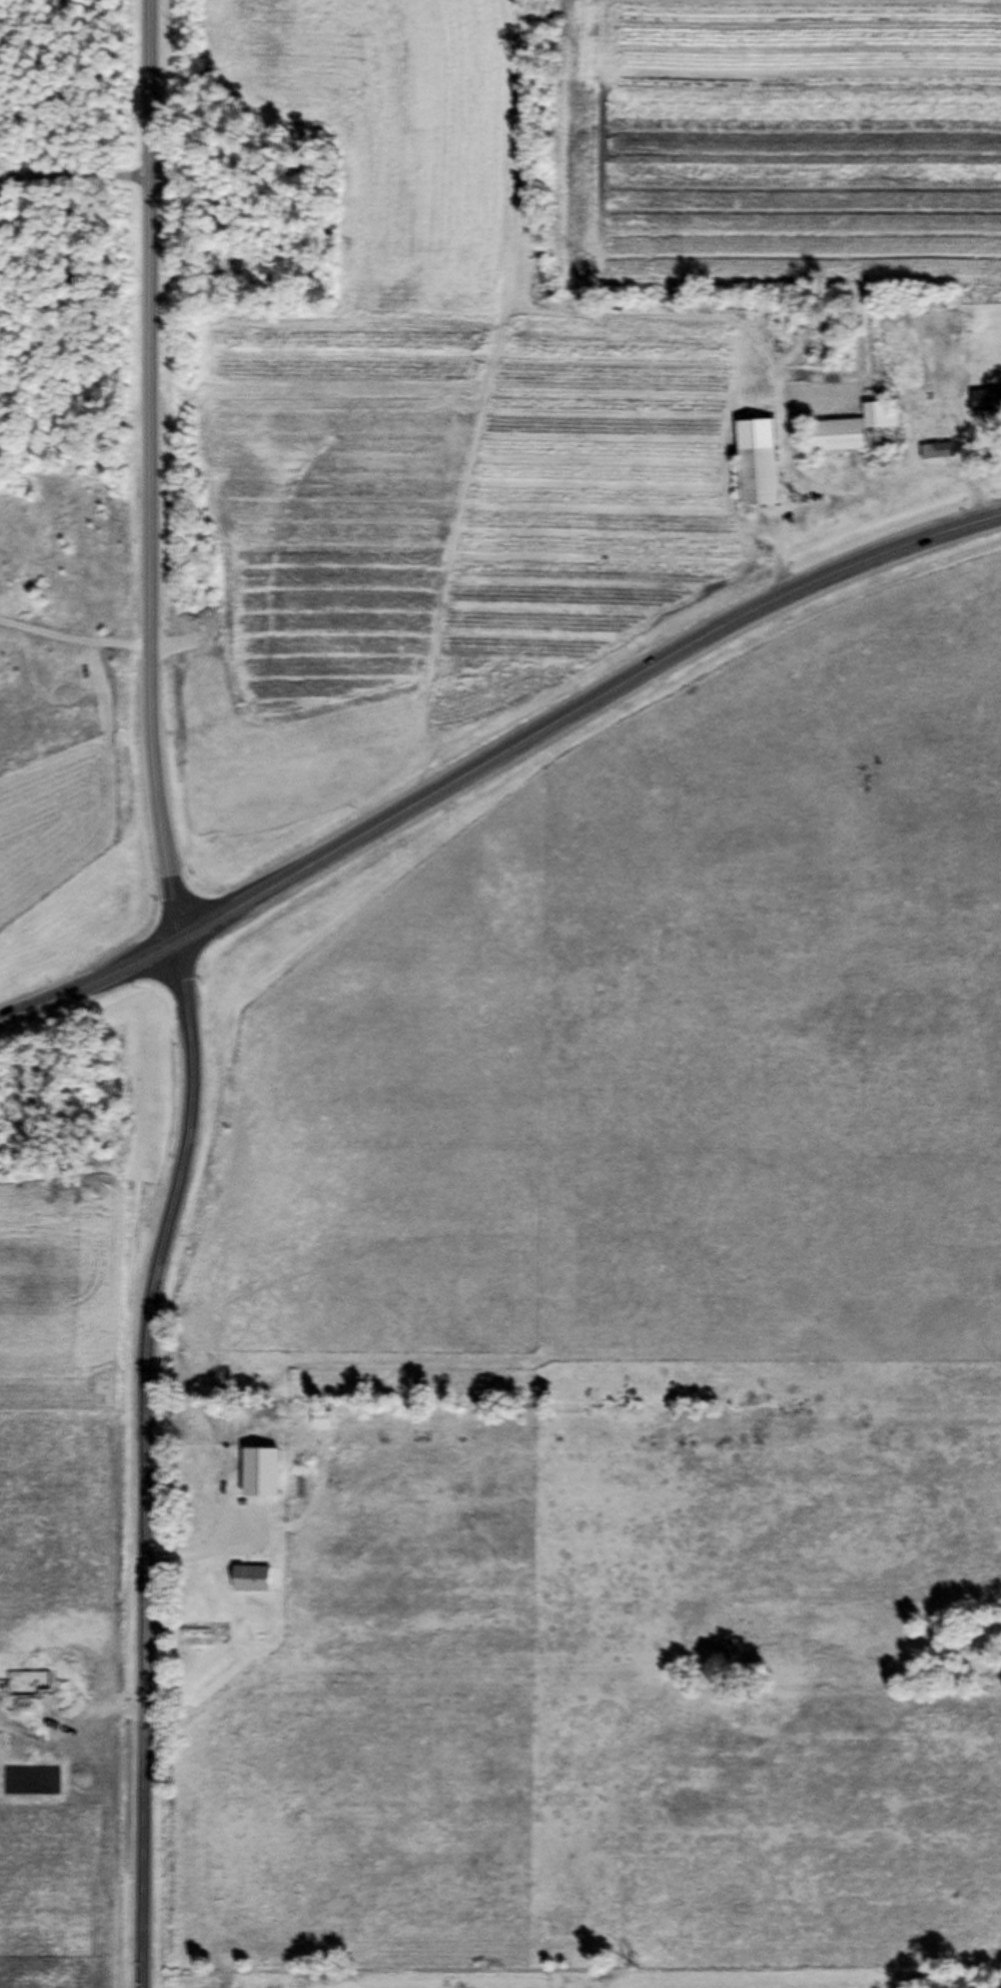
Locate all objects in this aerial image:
building: (950, 394)
building: (987, 406)
building: (859, 438)
building: (761, 483)
road: (75, 640)
road: (494, 758)
road: (186, 995)

